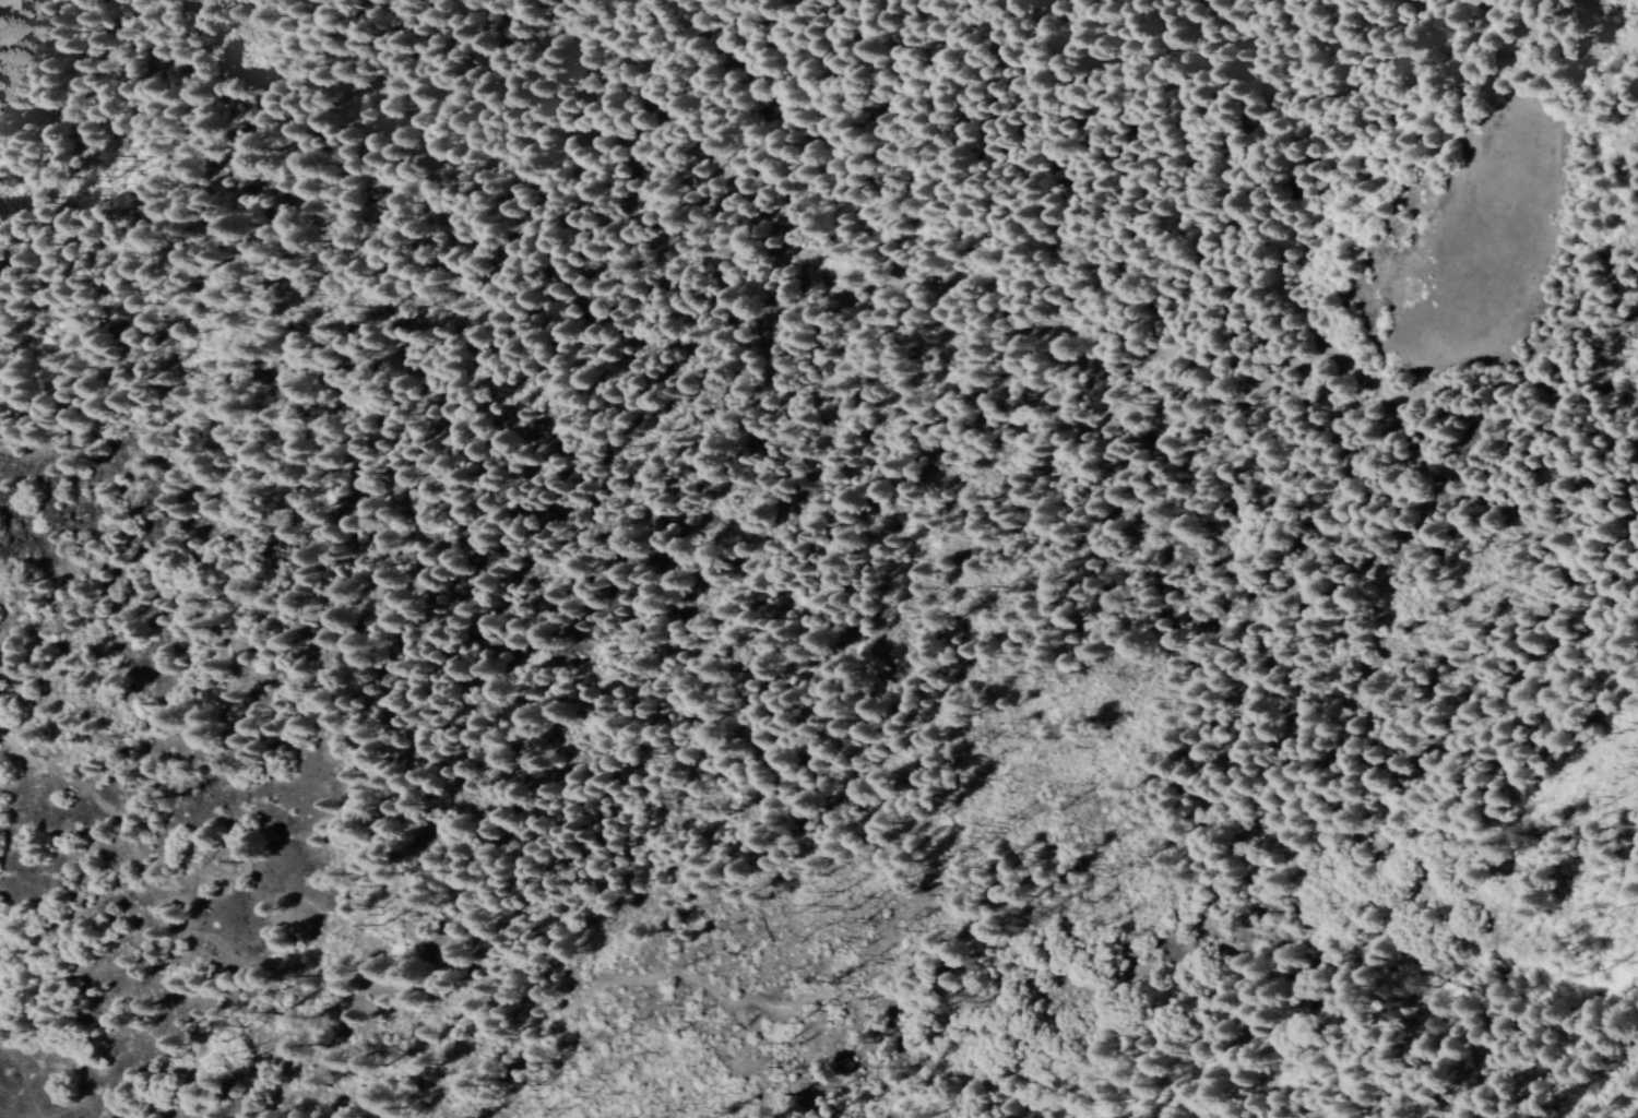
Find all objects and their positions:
road: (1465, 156)

